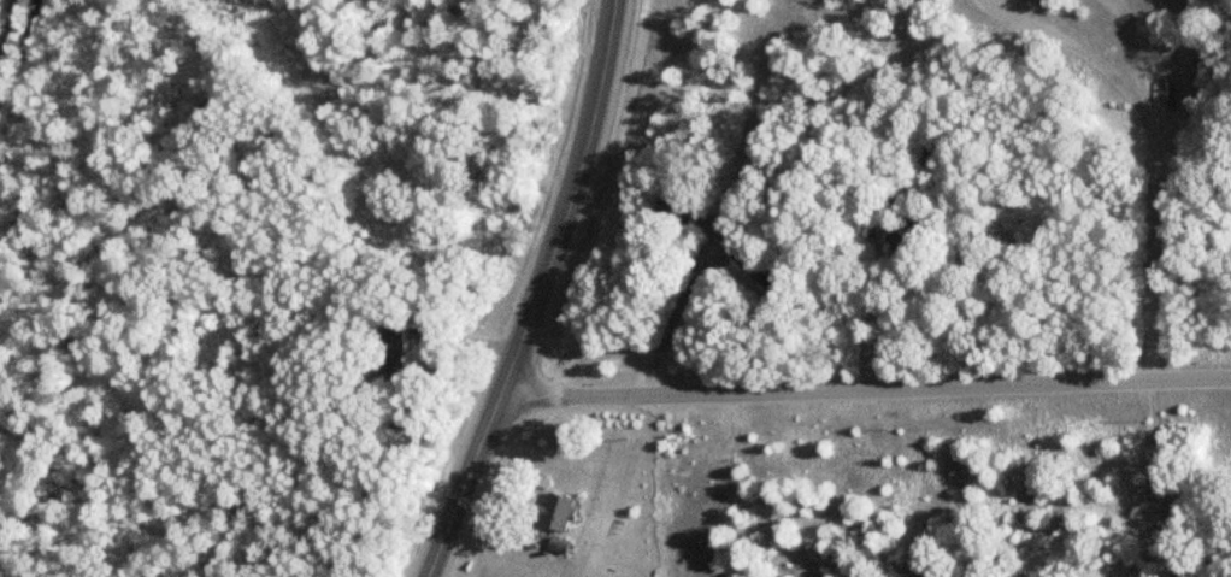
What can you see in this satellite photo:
road: (2, 13)
petroleum well: (1170, 92)
road: (1147, 175)
road: (534, 295)
road: (685, 300)
road: (872, 319)
road: (872, 382)
road: (1158, 478)
building: (552, 513)

